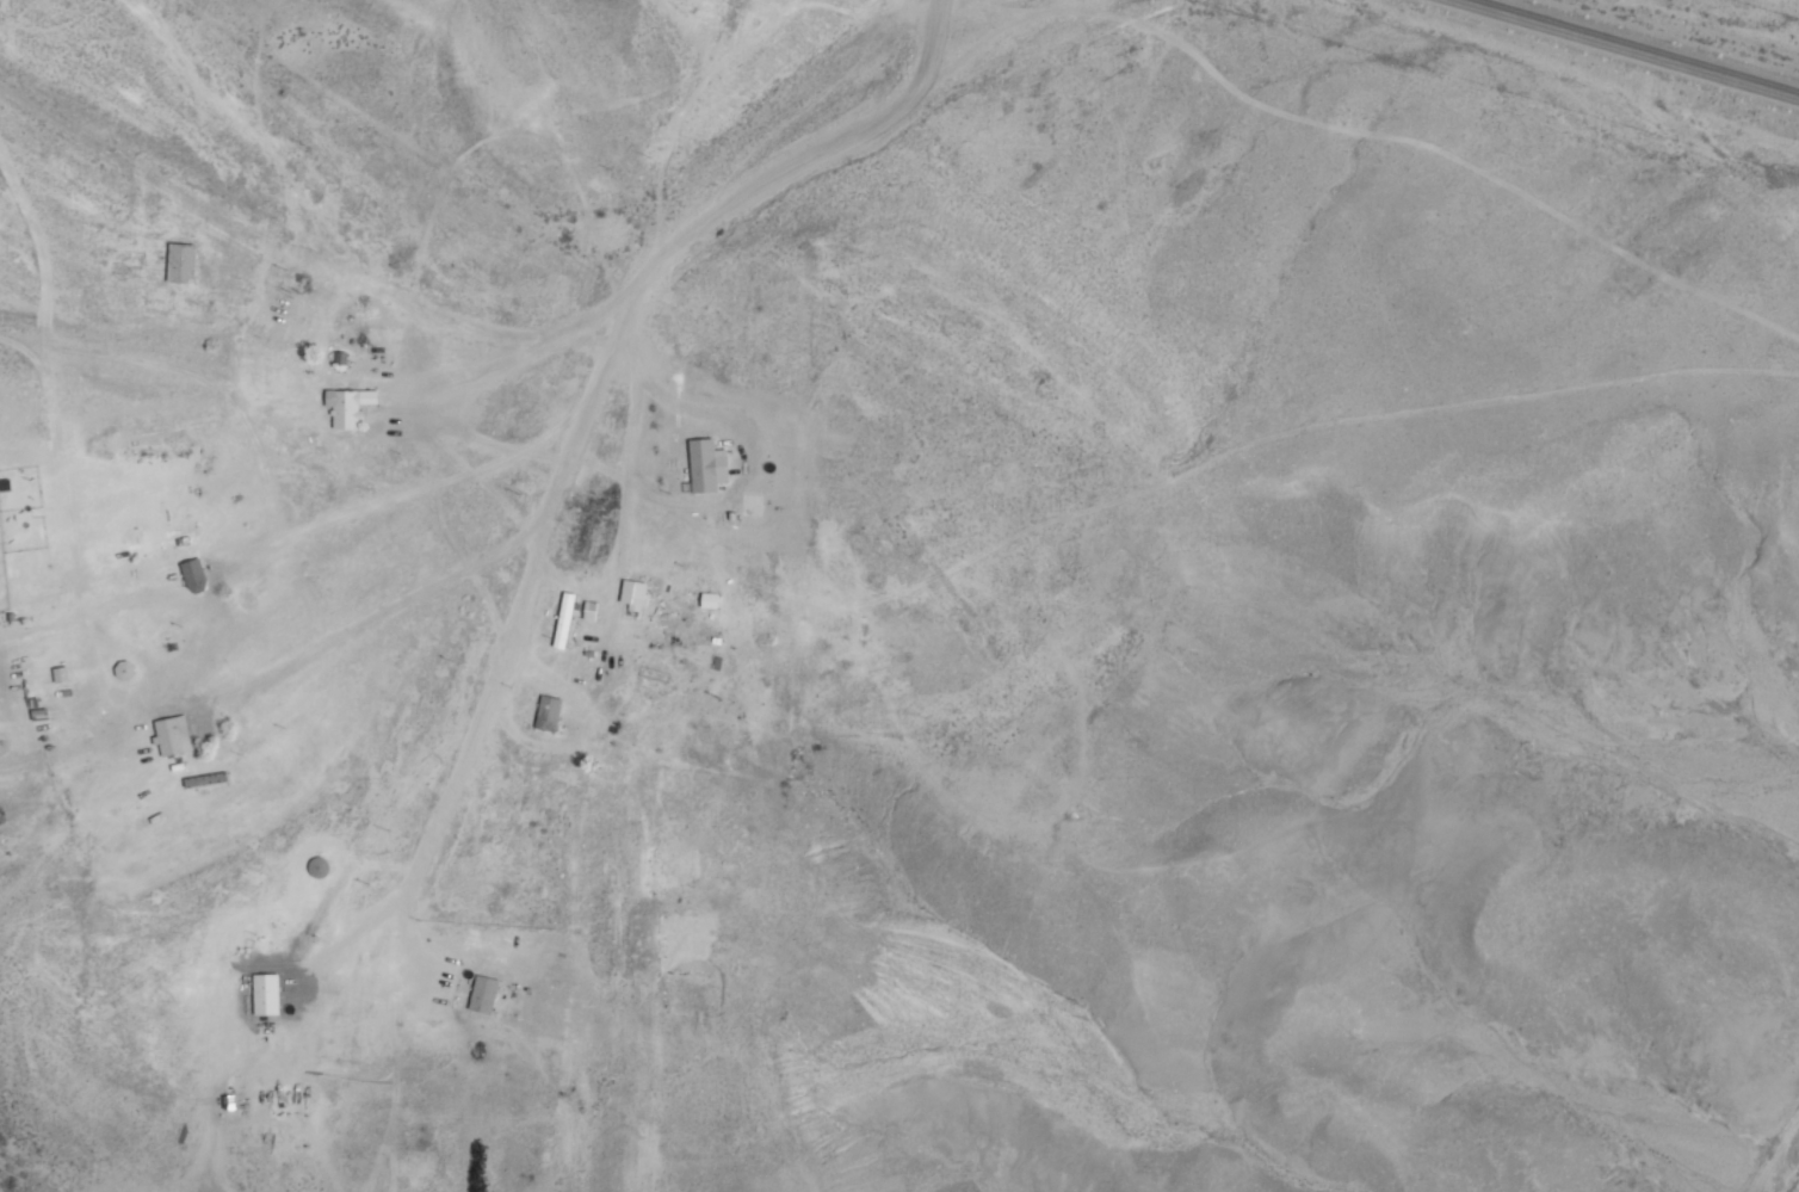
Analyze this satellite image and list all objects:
road: (1628, 48)
road: (808, 161)
road: (309, 253)
building: (180, 263)
building: (348, 407)
building: (703, 467)
building: (194, 576)
building: (632, 591)
road: (528, 595)
building: (563, 622)
road: (1303, 641)
road: (128, 668)
building: (548, 714)
building: (168, 736)
building: (319, 867)
building: (266, 995)
building: (483, 995)

